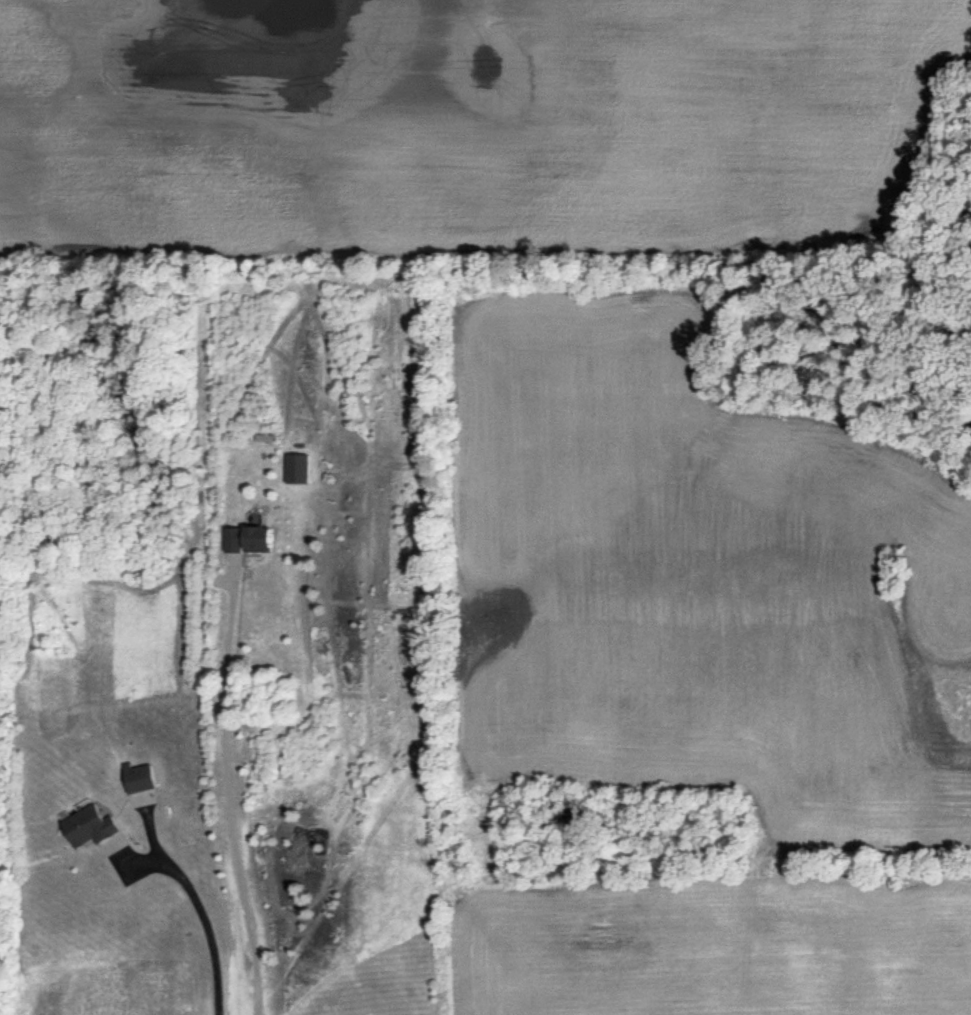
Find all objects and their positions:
building: (299, 468)
building: (251, 539)
building: (141, 777)
road: (230, 801)
building: (93, 826)
road: (206, 920)

